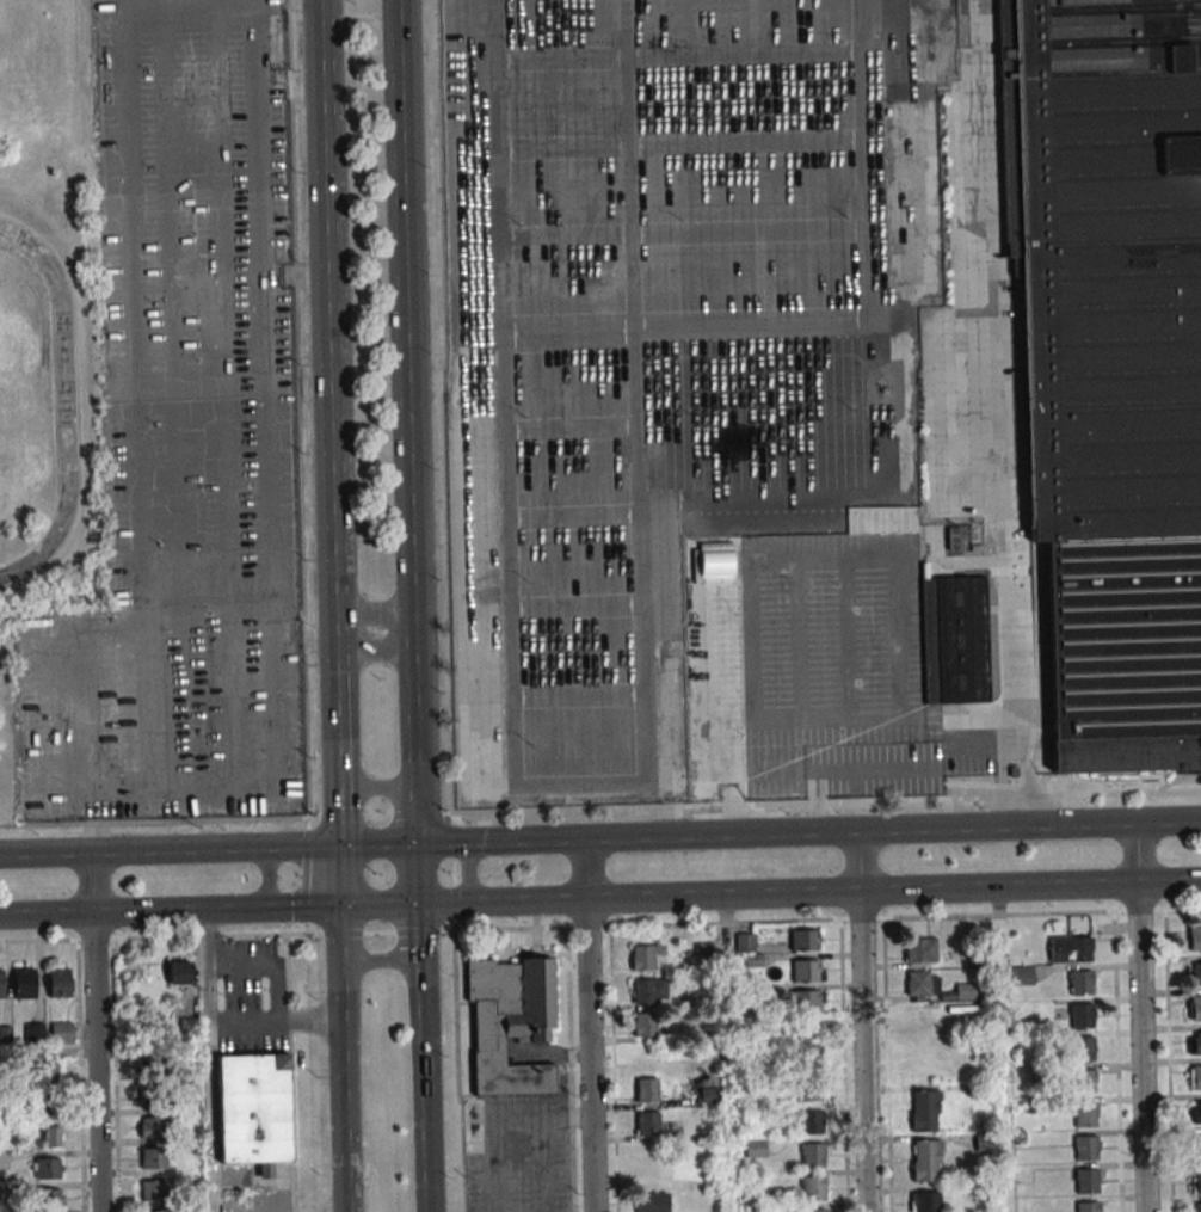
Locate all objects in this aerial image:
road: (295, 92)
road: (301, 275)
park: (49, 339)
parking lot: (666, 350)
building: (1111, 363)
road: (406, 394)
track: (42, 399)
road: (70, 408)
road: (329, 422)
road: (130, 429)
parking lot: (184, 443)
road: (283, 524)
road: (832, 561)
road: (372, 608)
road: (310, 639)
building: (954, 640)
road: (374, 653)
road: (845, 771)
road: (377, 788)
road: (417, 816)
road: (808, 832)
road: (378, 844)
traffic signals: (418, 844)
traffic signals: (339, 845)
road: (170, 853)
road: (1135, 854)
road: (857, 861)
road: (584, 869)
road: (467, 872)
road: (418, 874)
road: (339, 875)
road: (267, 878)
road: (93, 882)
road: (809, 893)
road: (378, 905)
traffic signals: (419, 905)
road: (170, 906)
traffic signals: (339, 906)
road: (600, 925)
building: (1195, 937)
building: (803, 939)
building: (1080, 948)
building: (920, 949)
building: (646, 955)
road: (378, 959)
building: (807, 970)
building: (178, 972)
building: (1195, 972)
building: (1022, 976)
building: (1082, 982)
building: (58, 983)
building: (923, 983)
building: (1, 984)
building: (24, 984)
building: (648, 990)
building: (965, 991)
parking lot: (244, 995)
building: (807, 1001)
building: (1196, 1007)
building: (918, 1015)
building: (1082, 1015)
building: (510, 1021)
building: (645, 1023)
building: (189, 1026)
road: (216, 1026)
building: (61, 1032)
building: (33, 1033)
building: (811, 1040)
building: (1195, 1042)
road: (1140, 1047)
building: (1083, 1048)
road: (1002, 1050)
road: (862, 1051)
road: (47, 1052)
road: (727, 1053)
road: (589, 1056)
building: (154, 1058)
road: (423, 1058)
road: (340, 1059)
road: (94, 1060)
building: (44, 1072)
building: (1197, 1077)
building: (1084, 1082)
building: (811, 1089)
building: (646, 1090)
building: (156, 1097)
building: (45, 1102)
building: (925, 1109)
building: (253, 1111)
building: (1196, 1112)
building: (1085, 1114)
road: (495, 1118)
building: (812, 1121)
building: (647, 1122)
building: (152, 1127)
building: (53, 1134)
building: (1196, 1145)
building: (1085, 1148)
building: (755, 1150)
building: (813, 1155)
building: (154, 1157)
building: (926, 1159)
building: (48, 1167)
building: (1086, 1181)
building: (1195, 1182)
building: (813, 1188)
building: (152, 1191)
building: (49, 1199)
building: (925, 1201)
building: (652, 1202)
building: (1088, 1206)
building: (1199, 1207)
building: (808, 1210)

